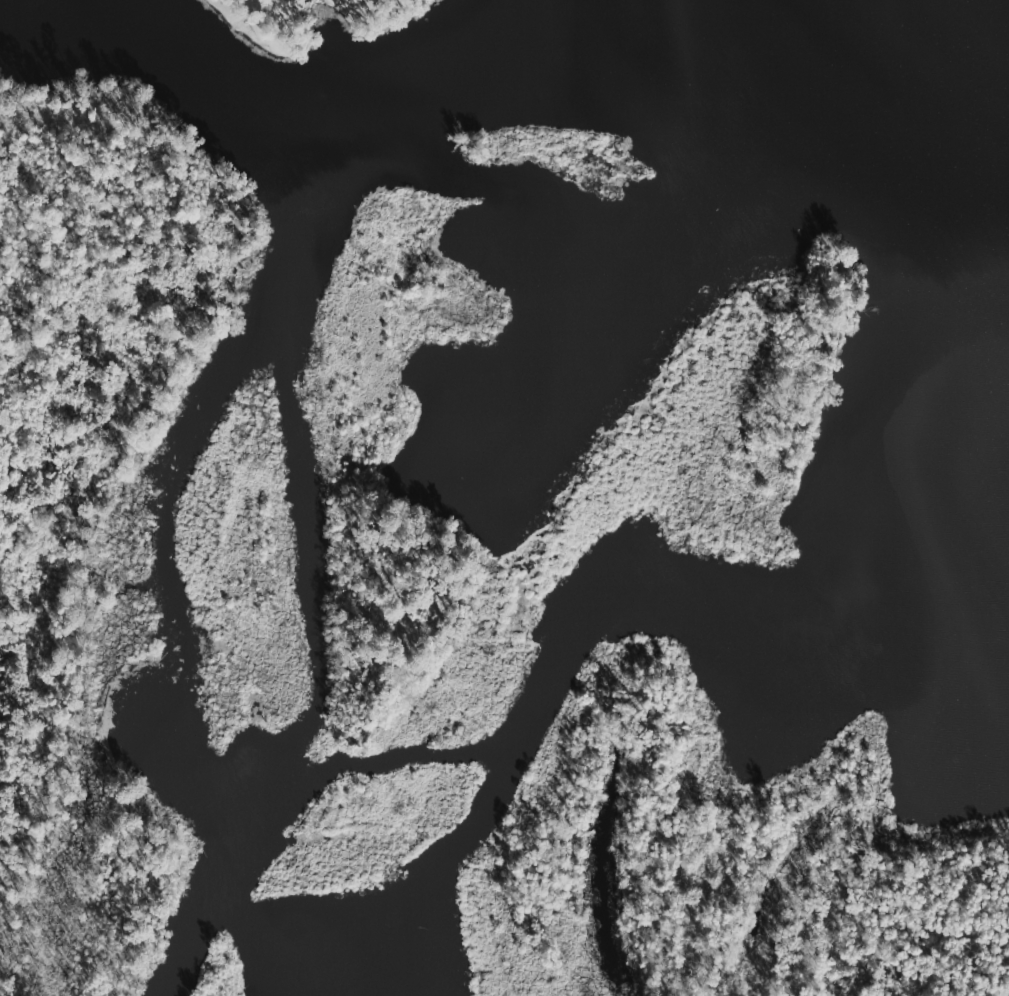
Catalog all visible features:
park: (311, 55)

